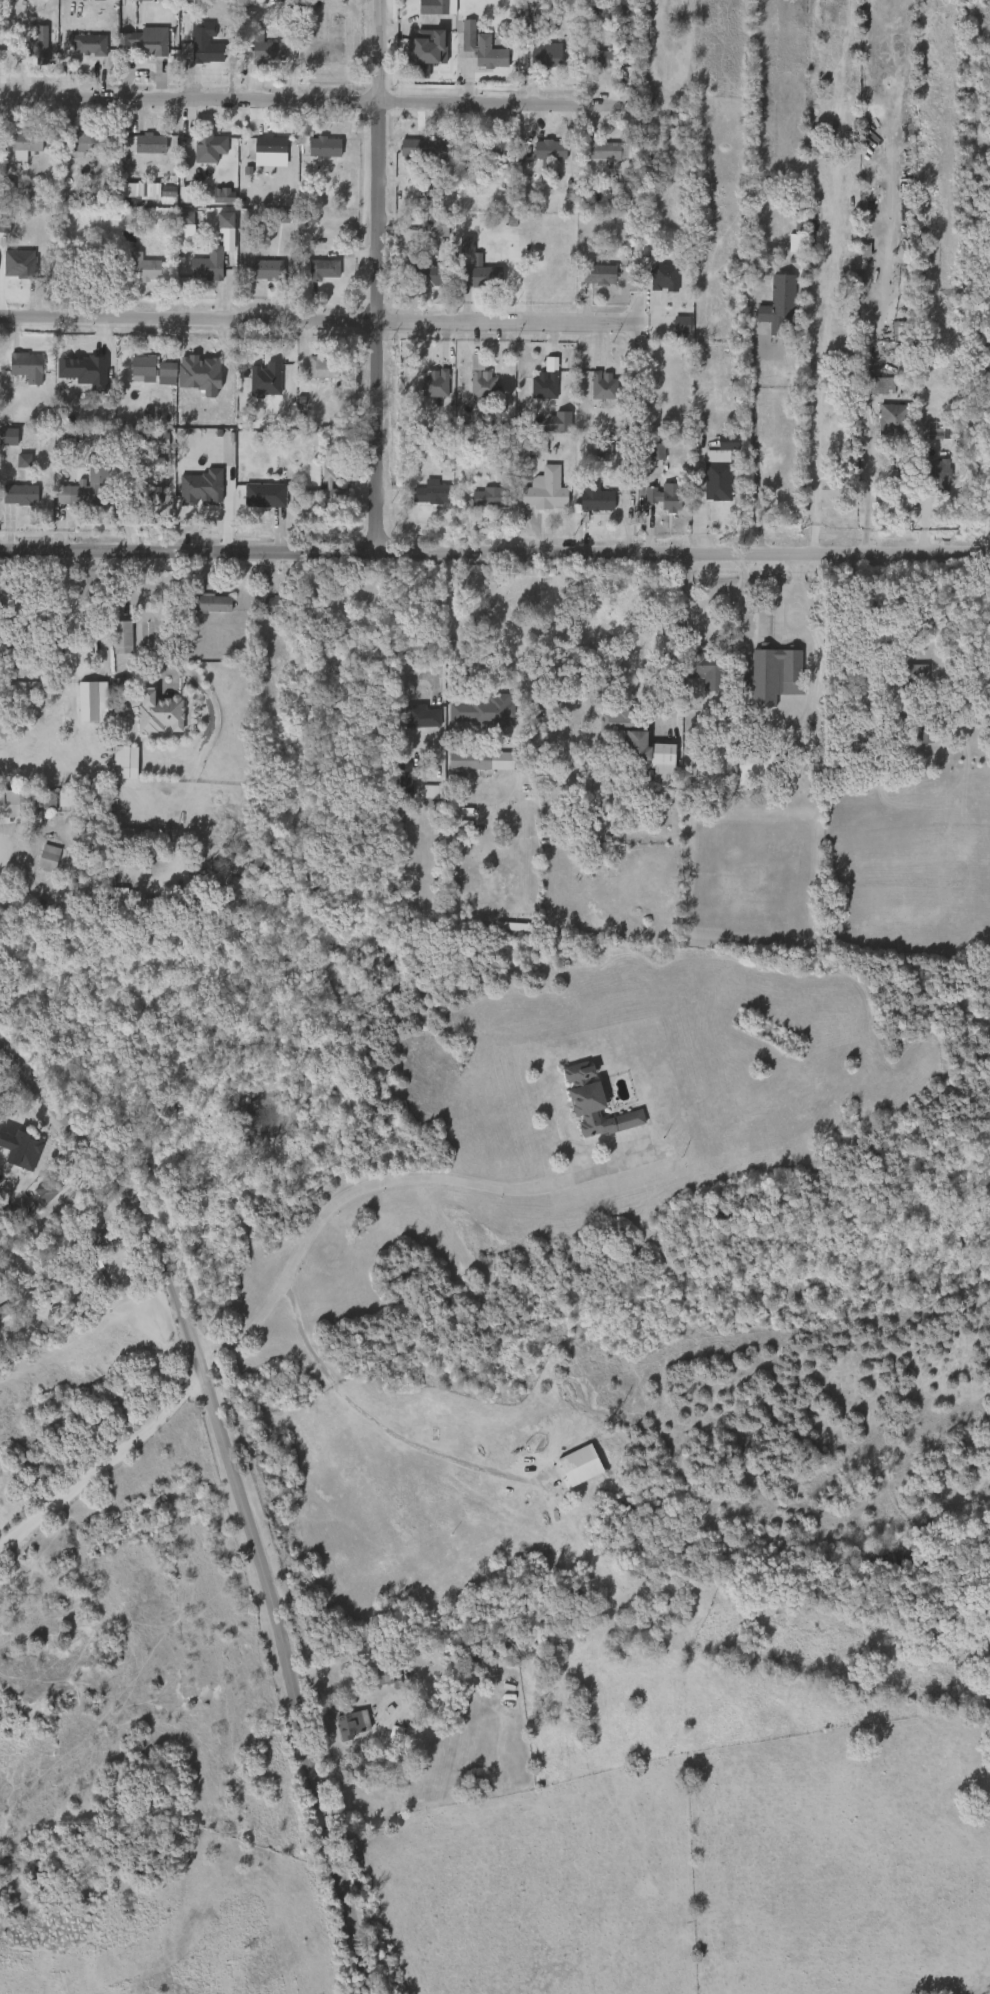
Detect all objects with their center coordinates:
building: (132, 3)
building: (423, 11)
building: (624, 19)
building: (466, 34)
building: (91, 43)
building: (151, 43)
building: (42, 44)
building: (205, 44)
building: (421, 45)
building: (28, 49)
building: (78, 50)
building: (265, 52)
building: (487, 53)
building: (543, 57)
building: (597, 59)
road: (302, 101)
building: (24, 142)
building: (87, 143)
building: (150, 144)
building: (275, 145)
building: (213, 146)
building: (325, 146)
building: (421, 148)
building: (74, 149)
building: (486, 149)
building: (547, 150)
building: (260, 151)
building: (601, 152)
building: (314, 153)
building: (199, 154)
building: (157, 194)
building: (175, 200)
building: (213, 201)
building: (176, 224)
building: (216, 235)
building: (797, 238)
building: (210, 266)
building: (141, 268)
building: (324, 269)
building: (270, 270)
building: (197, 271)
building: (597, 274)
building: (428, 275)
building: (255, 276)
road: (384, 276)
building: (662, 276)
building: (479, 277)
building: (778, 305)
road: (298, 322)
building: (672, 333)
building: (903, 335)
building: (23, 361)
building: (152, 367)
building: (325, 370)
building: (263, 371)
building: (17, 372)
building: (312, 374)
building: (132, 375)
building: (73, 376)
building: (436, 383)
building: (483, 384)
building: (879, 384)
building: (255, 385)
building: (543, 385)
building: (602, 386)
building: (473, 390)
building: (891, 421)
road: (803, 439)
building: (526, 448)
road: (754, 448)
building: (649, 452)
building: (718, 469)
building: (936, 475)
road: (868, 480)
building: (334, 486)
building: (546, 489)
building: (321, 492)
building: (431, 493)
building: (20, 494)
building: (90, 494)
building: (265, 494)
building: (147, 496)
building: (491, 496)
building: (664, 497)
building: (595, 499)
building: (481, 503)
road: (697, 504)
road: (494, 554)
road: (741, 591)
road: (795, 594)
building: (212, 603)
building: (280, 604)
building: (263, 610)
road: (481, 612)
road: (68, 613)
road: (435, 628)
road: (683, 633)
building: (121, 635)
building: (112, 643)
building: (11, 649)
road: (168, 652)
building: (707, 669)
building: (775, 674)
building: (915, 675)
building: (696, 676)
building: (904, 680)
building: (59, 698)
building: (478, 709)
building: (159, 713)
building: (420, 715)
building: (989, 719)
building: (411, 722)
building: (644, 744)
building: (470, 759)
building: (122, 761)
building: (757, 768)
building: (395, 778)
building: (406, 779)
building: (429, 798)
building: (4, 809)
building: (134, 836)
building: (122, 839)
building: (50, 857)
building: (38, 862)
building: (107, 901)
building: (516, 923)
building: (591, 1104)
building: (32, 1154)
building: (19, 1159)
building: (49, 1188)
road: (361, 1189)
building: (37, 1194)
building: (88, 1278)
building: (4, 1309)
building: (0, 1317)
road: (372, 1423)
building: (581, 1464)
road: (102, 1465)
road: (237, 1494)
building: (505, 1657)
building: (387, 1675)
building: (352, 1723)
road: (381, 1724)

